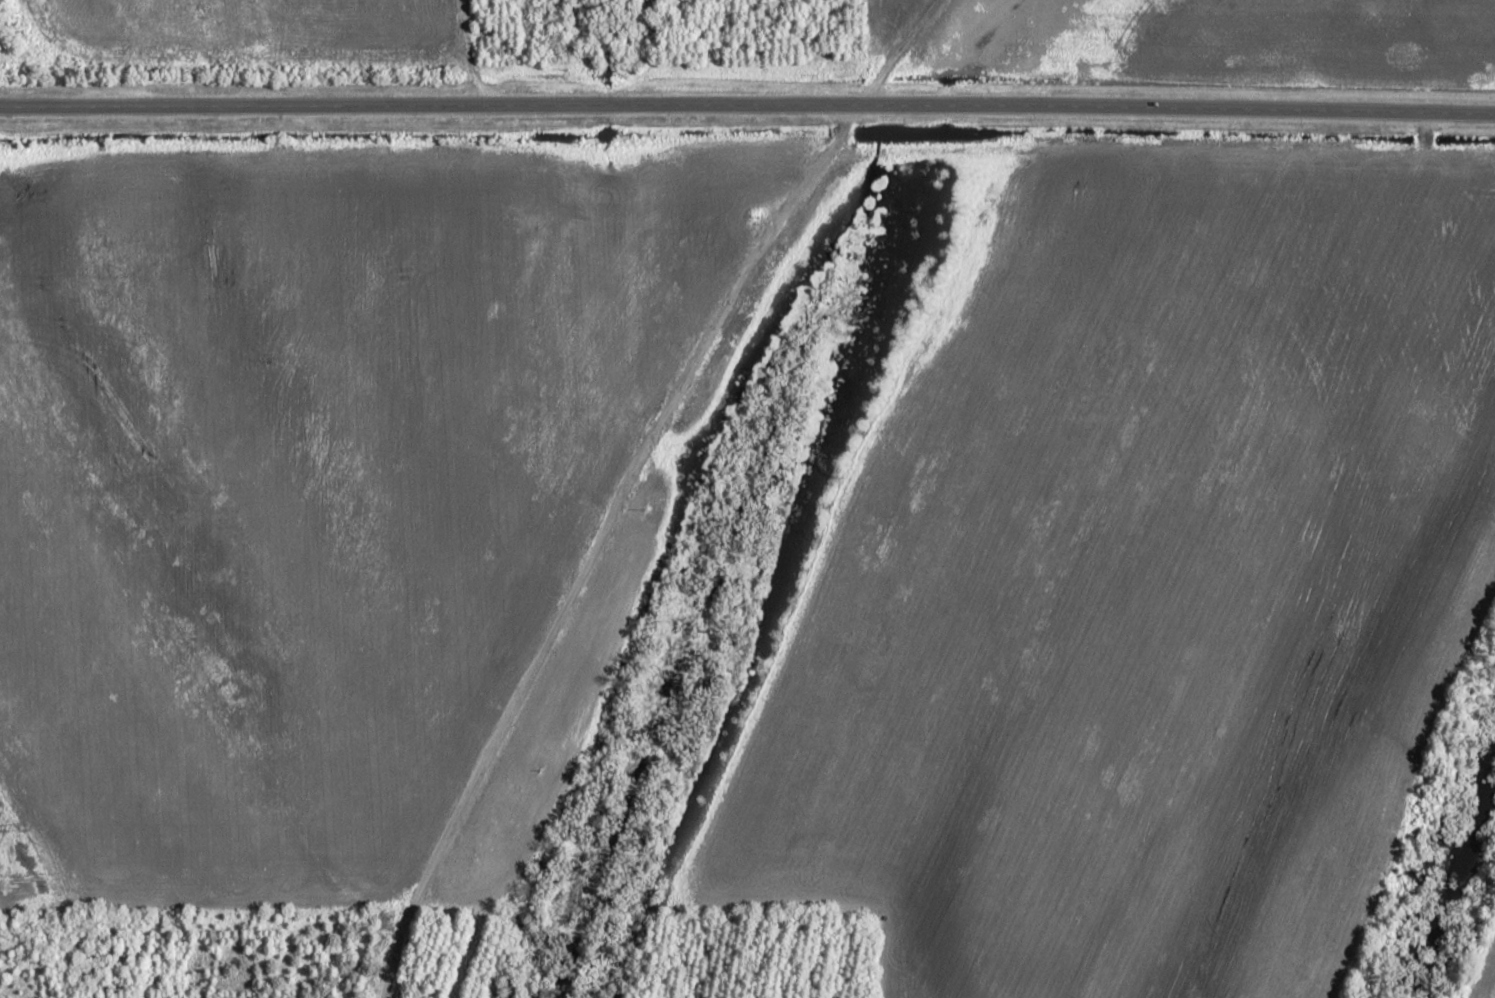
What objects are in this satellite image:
road: (897, 52)
road: (747, 106)
road: (599, 540)

